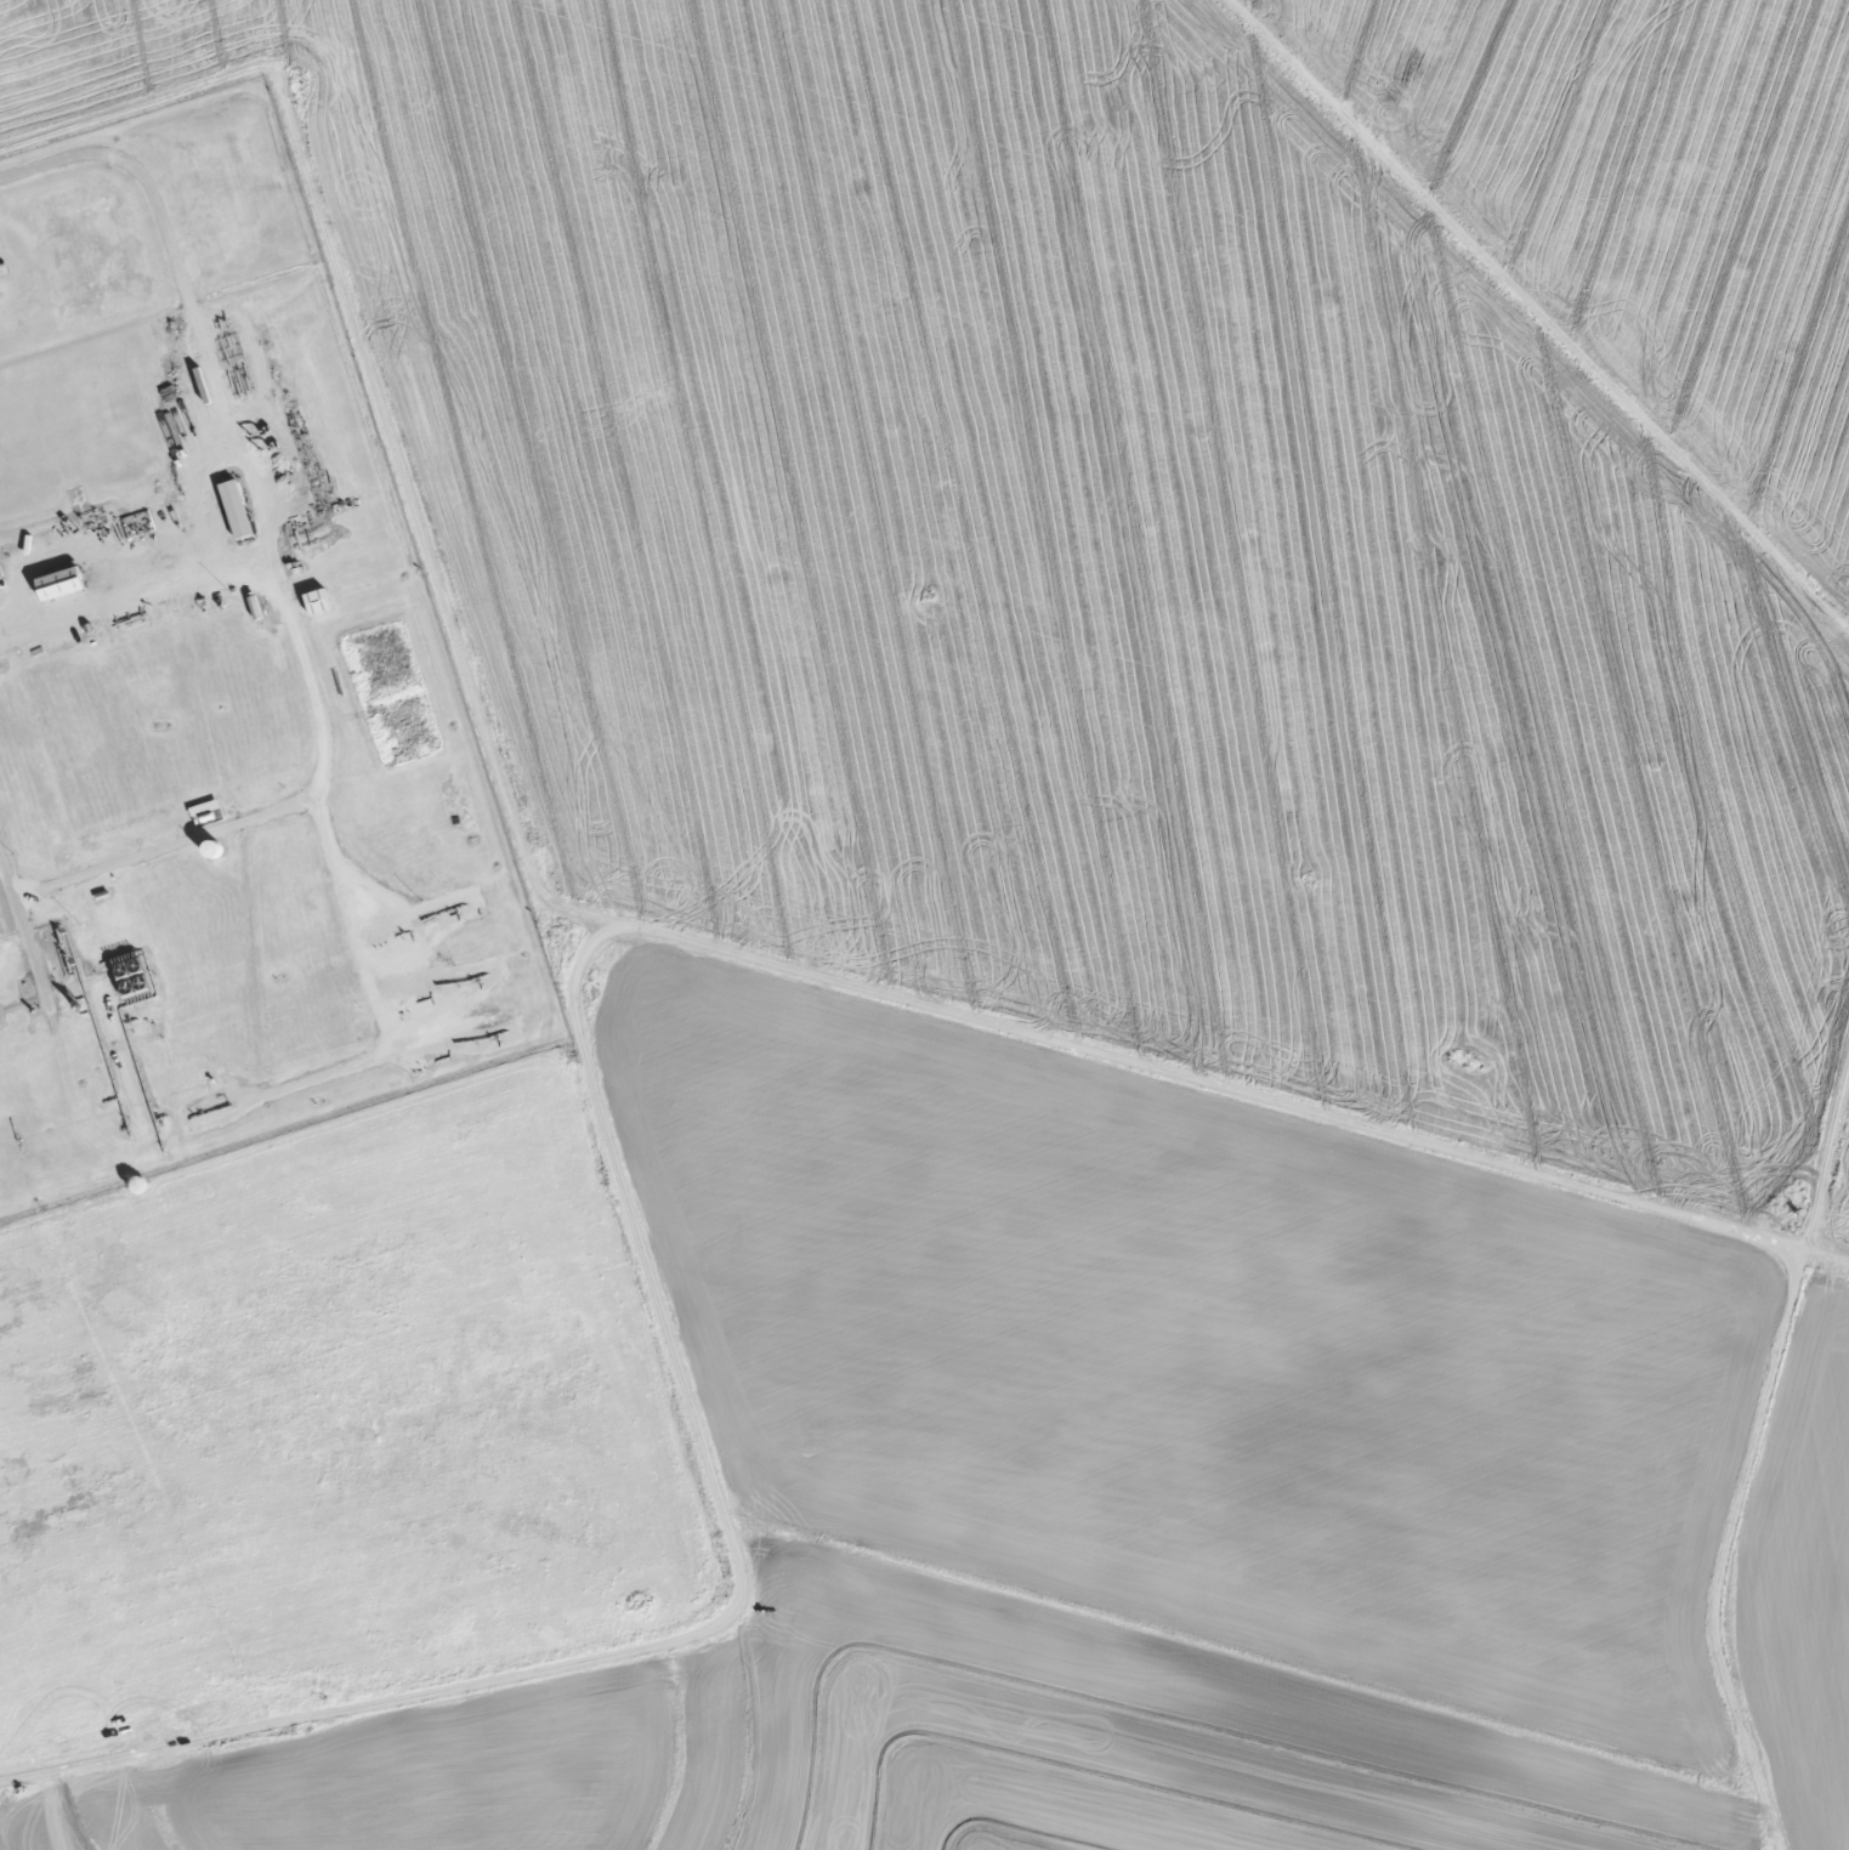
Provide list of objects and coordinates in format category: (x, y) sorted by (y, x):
road: (222, 425)
building: (237, 511)
building: (61, 585)
building: (318, 602)
road: (262, 813)

